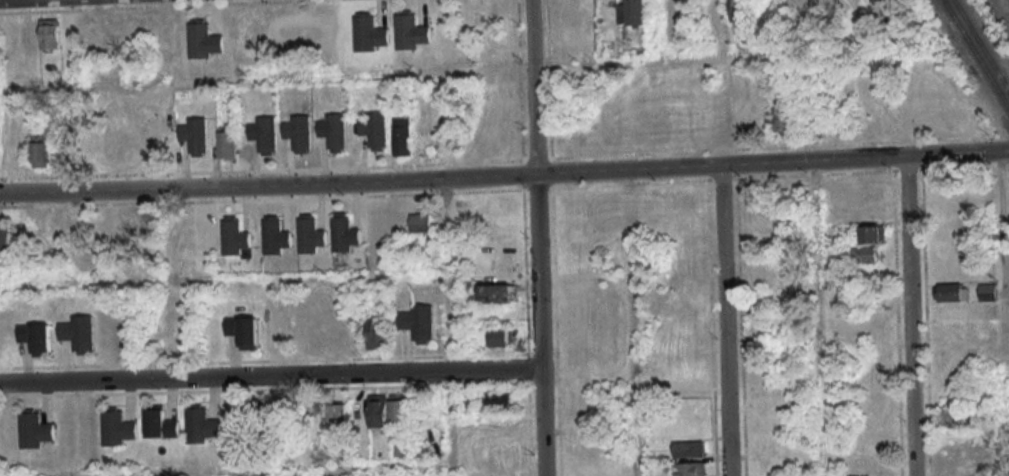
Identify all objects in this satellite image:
building: (841, 9)
building: (884, 9)
building: (738, 10)
building: (630, 13)
building: (411, 31)
building: (369, 32)
building: (50, 34)
building: (203, 40)
railway: (982, 45)
railway: (976, 54)
road: (470, 70)
building: (782, 119)
building: (374, 130)
building: (333, 132)
building: (298, 133)
building: (264, 134)
building: (401, 135)
building: (195, 136)
building: (227, 144)
building: (41, 150)
road: (504, 176)
building: (420, 221)
road: (1002, 221)
building: (126, 229)
building: (344, 233)
building: (309, 234)
building: (872, 234)
building: (275, 235)
building: (5, 236)
building: (234, 236)
road: (536, 237)
building: (865, 254)
road: (223, 279)
building: (951, 292)
building: (987, 292)
building: (495, 293)
road: (908, 316)
road: (818, 318)
road: (723, 321)
building: (418, 323)
road: (634, 323)
road: (448, 327)
building: (243, 331)
building: (378, 333)
building: (78, 334)
building: (500, 337)
building: (35, 338)
road: (269, 376)
building: (496, 400)
building: (400, 409)
building: (378, 411)
building: (338, 413)
building: (255, 415)
building: (953, 416)
building: (161, 423)
building: (202, 424)
building: (118, 427)
building: (34, 429)
building: (688, 449)
building: (958, 458)
building: (691, 469)
road: (240, 470)
building: (957, 475)

